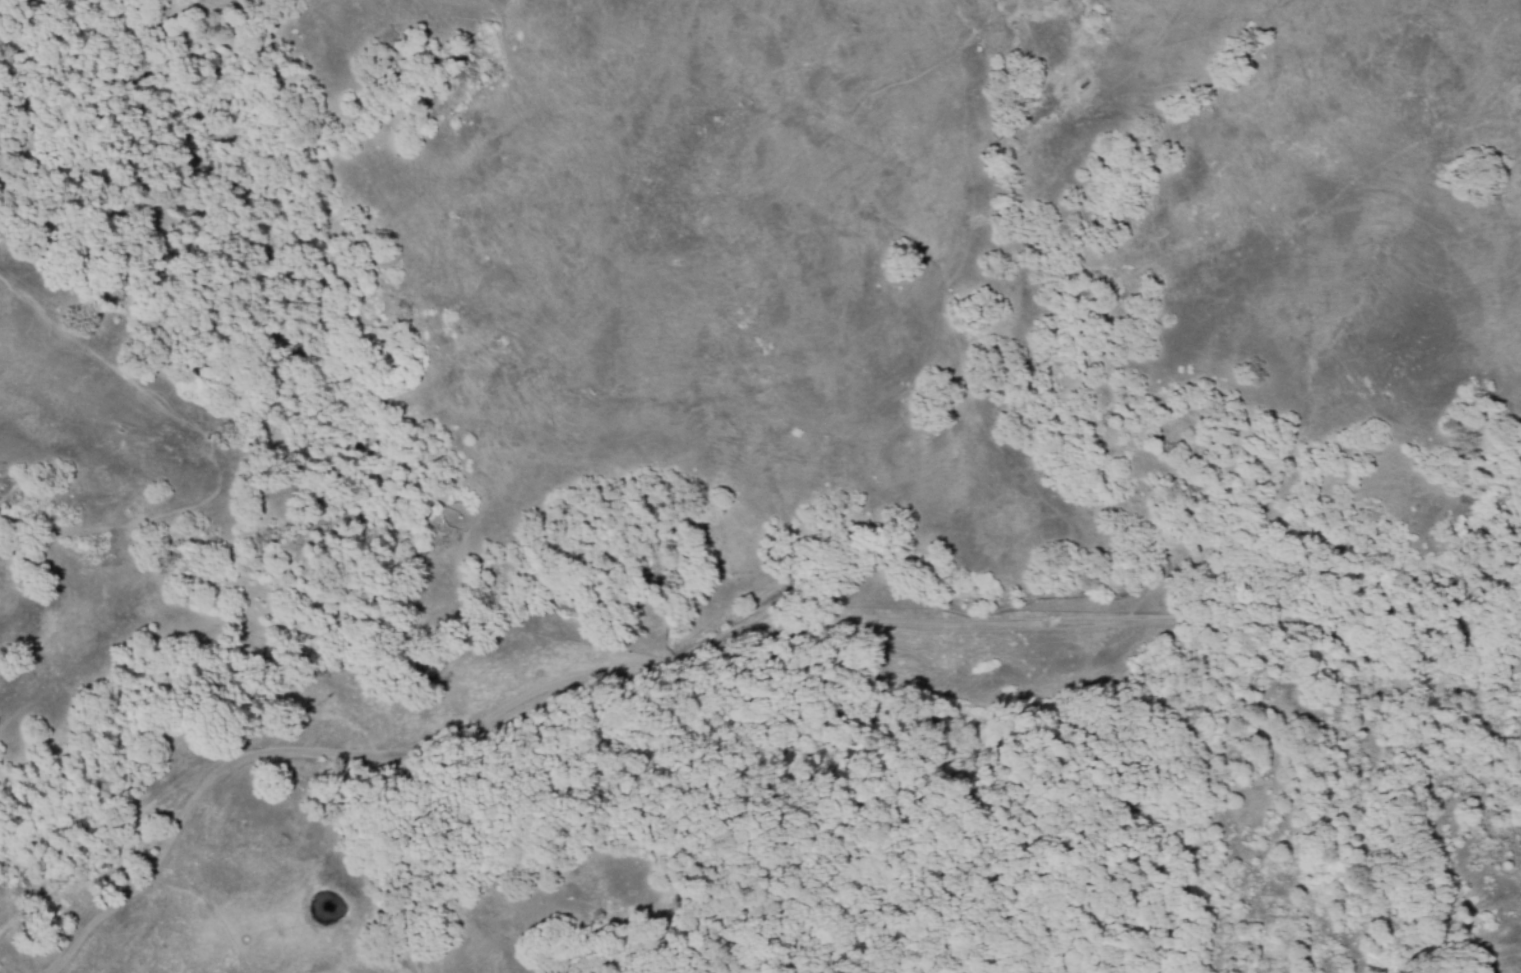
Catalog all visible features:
road: (725, 669)

